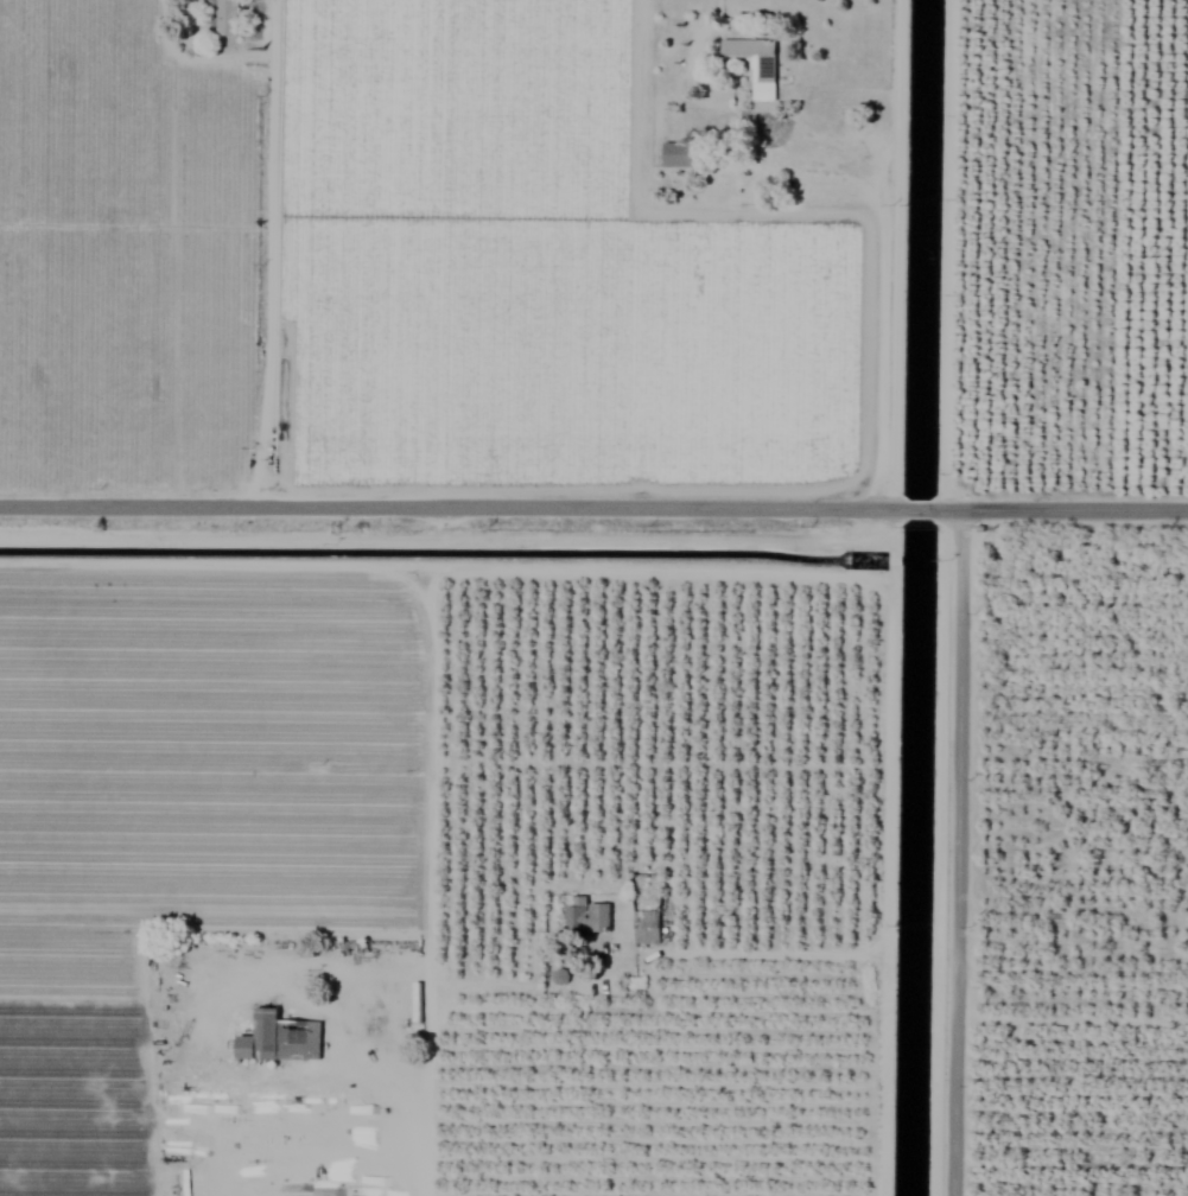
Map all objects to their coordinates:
building: (224, 17)
building: (754, 65)
building: (679, 155)
road: (879, 180)
road: (272, 252)
road: (593, 504)
road: (895, 530)
road: (895, 565)
road: (452, 573)
crop: (593, 598)
road: (957, 852)
road: (888, 886)
building: (585, 917)
building: (644, 928)
road: (657, 959)
building: (558, 976)
building: (279, 1038)
road: (433, 1095)

